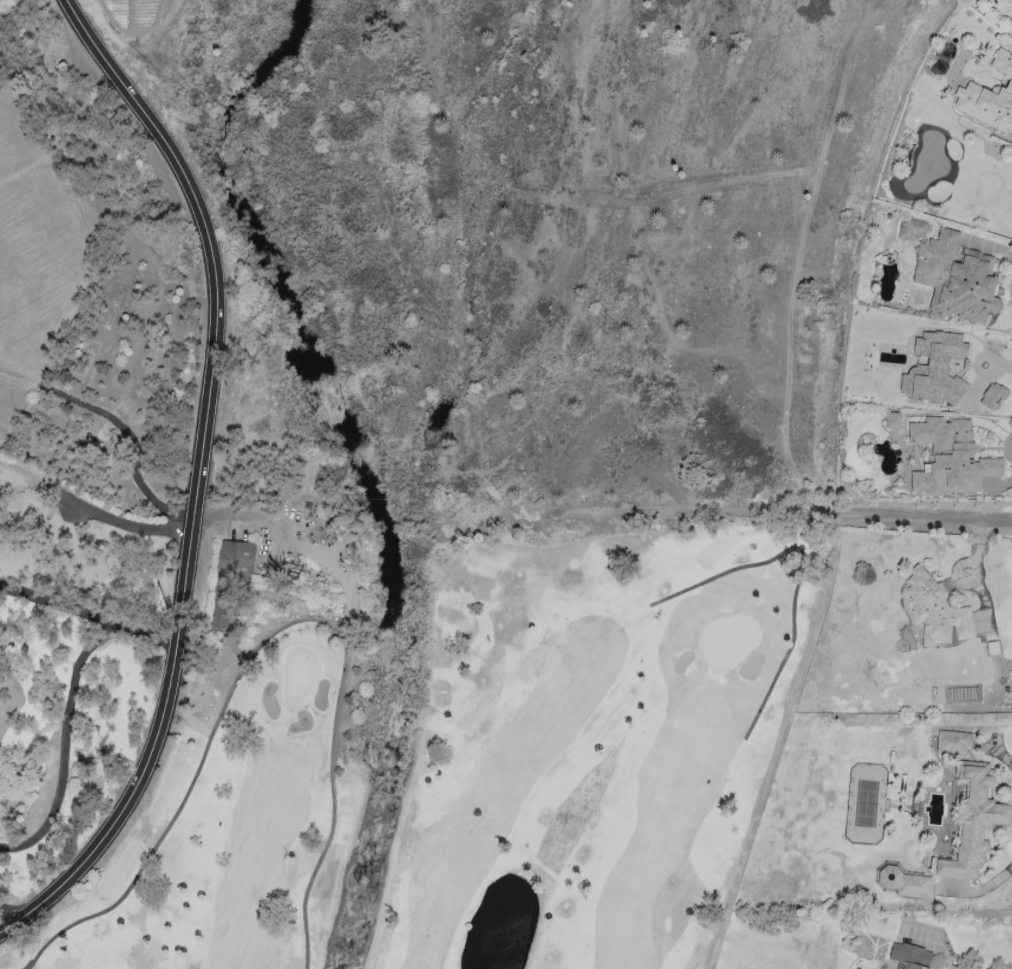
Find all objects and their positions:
crop: (136, 12)
building: (989, 98)
building: (911, 229)
road: (799, 268)
building: (934, 369)
building: (993, 397)
building: (893, 420)
building: (950, 458)
river: (361, 477)
road: (198, 478)
road: (1001, 484)
road: (89, 511)
road: (935, 516)
road: (968, 574)
building: (230, 578)
building: (937, 611)
road: (87, 613)
road: (268, 635)
building: (953, 743)
road: (1002, 755)
park: (483, 765)
building: (973, 822)
building: (906, 882)
road: (987, 886)
road: (11, 910)

